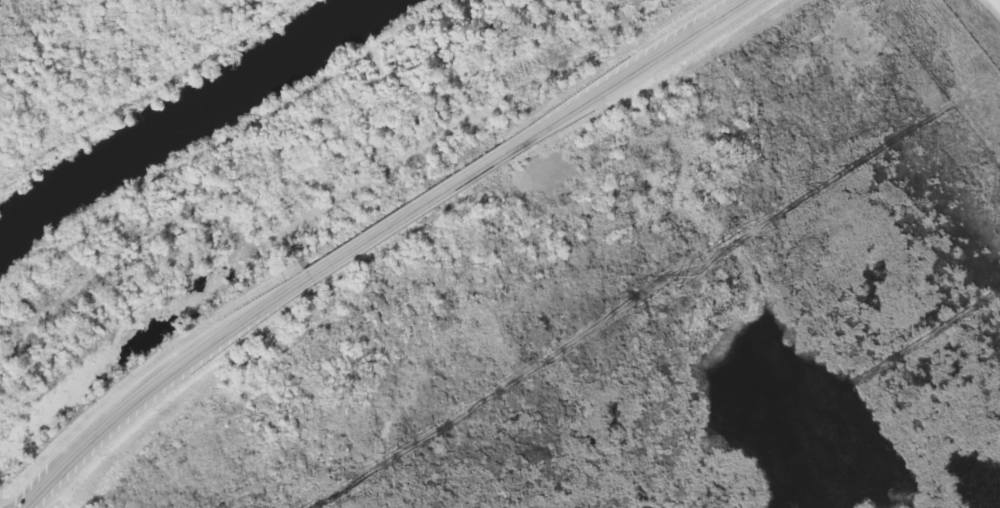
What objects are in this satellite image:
road: (998, 1)
road: (369, 234)
power tower: (676, 285)

